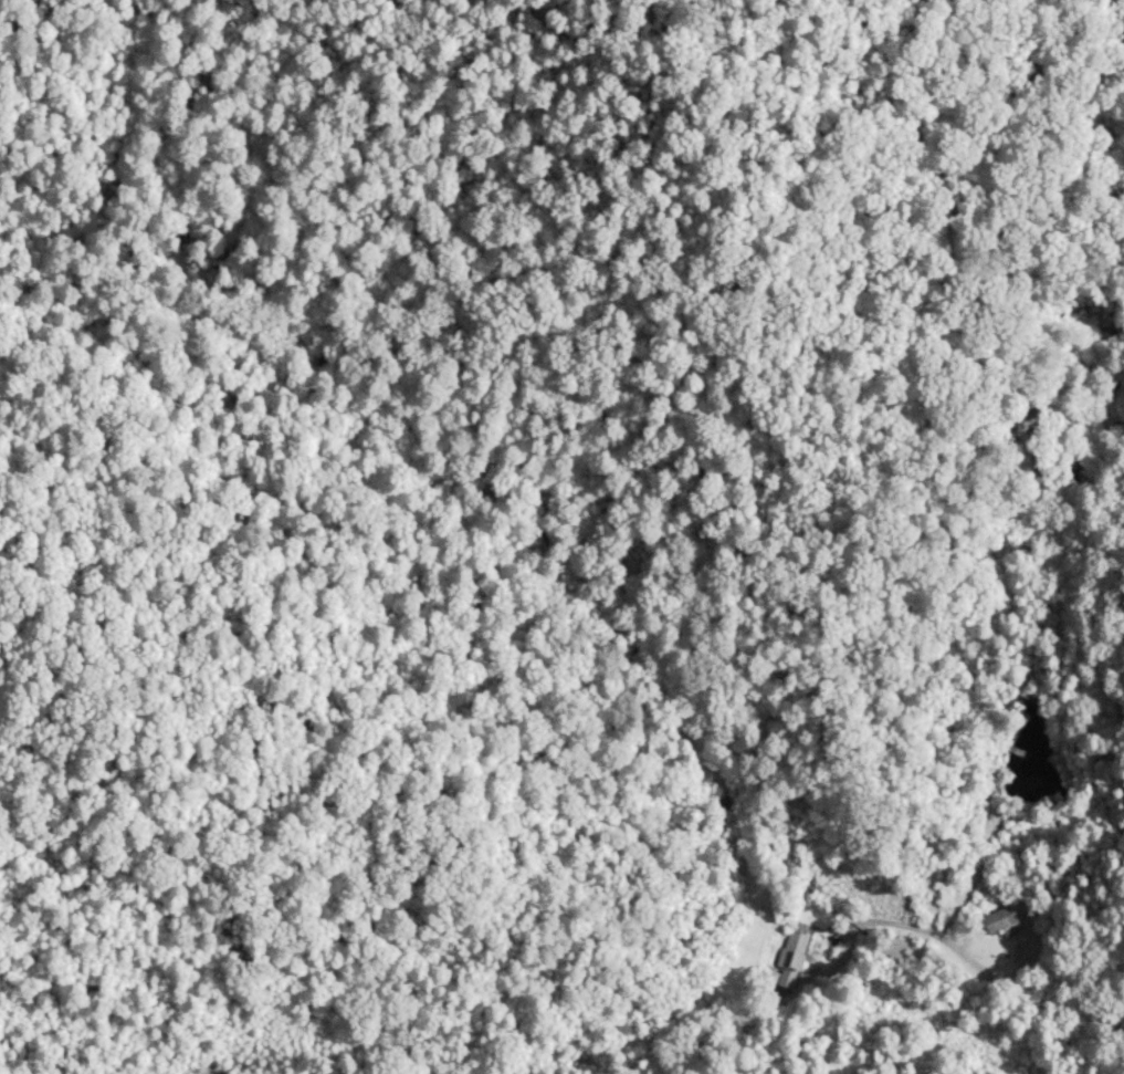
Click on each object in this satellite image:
building: (998, 921)
building: (791, 952)
road: (944, 955)
road: (1092, 1036)

